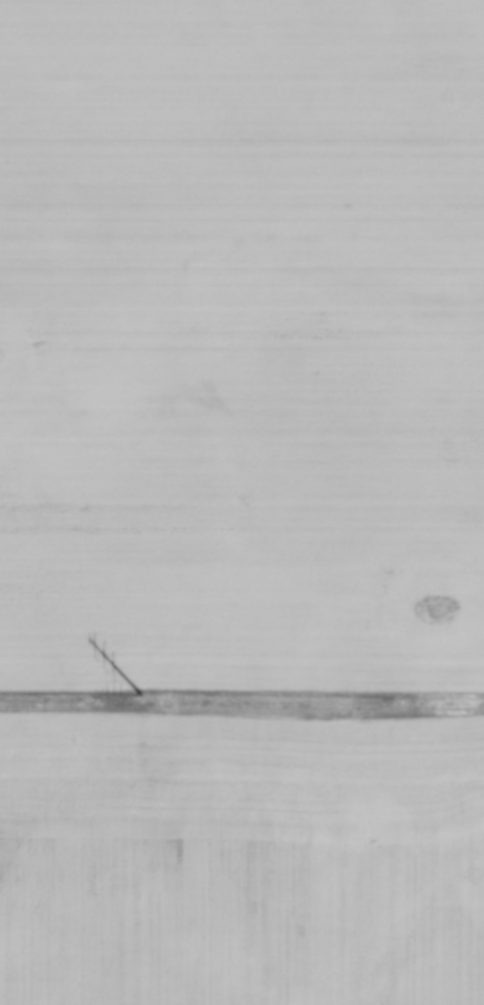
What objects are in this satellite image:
power tower: (139, 693)

